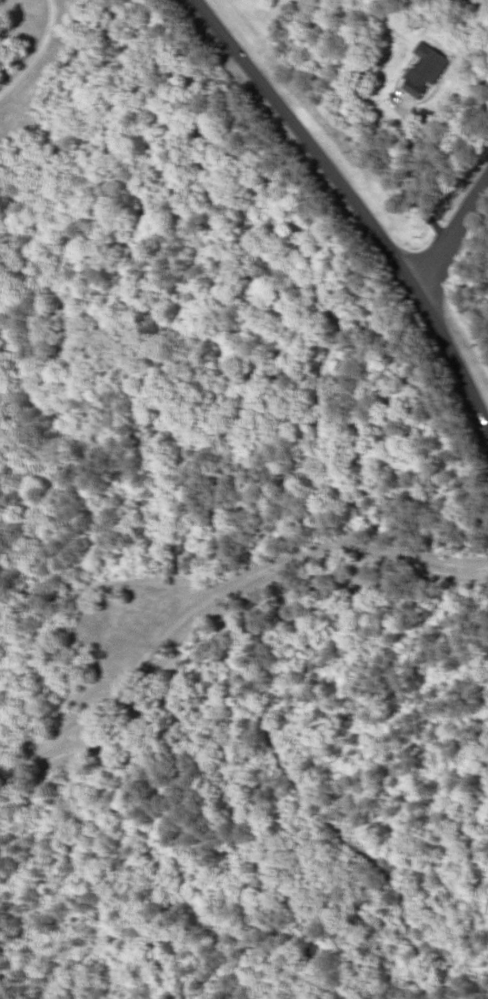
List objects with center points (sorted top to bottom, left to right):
building: (426, 66)
road: (352, 201)
road: (452, 233)

